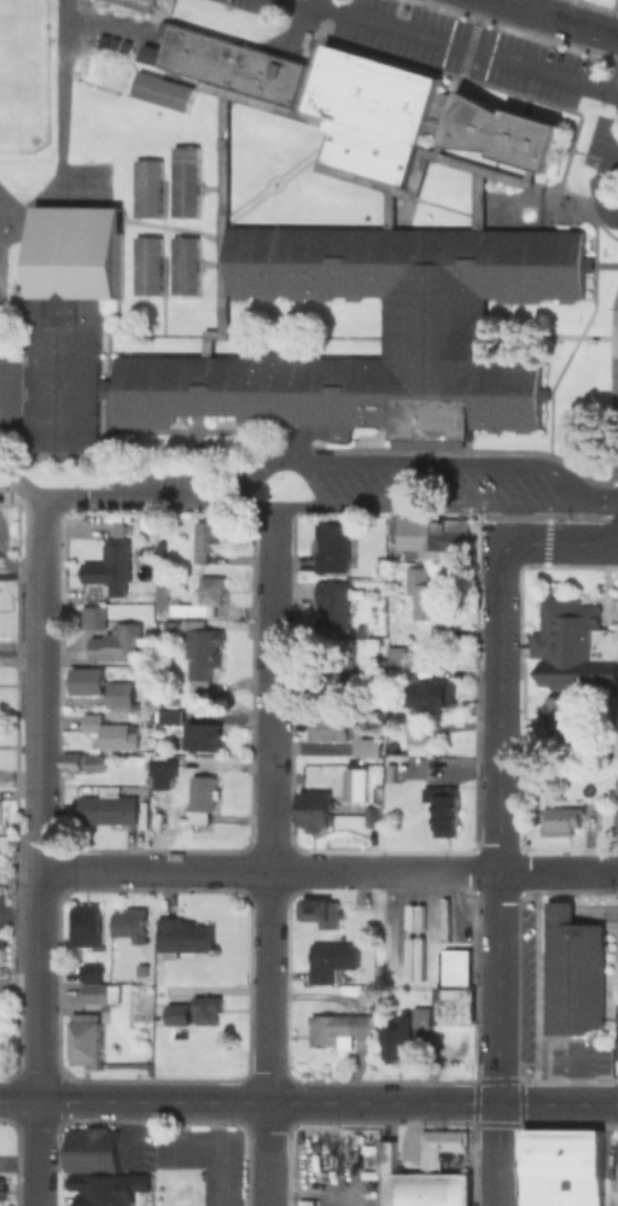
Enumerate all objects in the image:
road: (325, 2)
building: (135, 4)
road: (553, 19)
parking lot: (98, 24)
road: (462, 46)
parking lot: (459, 56)
building: (225, 62)
park: (22, 76)
road: (180, 80)
building: (162, 93)
road: (222, 105)
building: (373, 113)
road: (58, 133)
building: (503, 134)
building: (88, 141)
road: (443, 159)
road: (604, 167)
building: (182, 182)
road: (270, 182)
road: (537, 187)
building: (146, 190)
road: (443, 208)
road: (171, 228)
building: (147, 267)
building: (182, 267)
road: (196, 298)
building: (432, 327)
road: (577, 334)
road: (135, 336)
road: (530, 336)
road: (301, 337)
parking lot: (10, 378)
road: (183, 431)
road: (404, 464)
parking lot: (161, 476)
parking lot: (422, 485)
road: (19, 488)
road: (133, 497)
road: (402, 505)
road: (599, 505)
building: (439, 536)
building: (206, 541)
building: (158, 548)
building: (330, 548)
building: (107, 565)
road: (19, 573)
building: (426, 596)
building: (188, 600)
building: (331, 607)
building: (89, 619)
building: (358, 633)
building: (116, 645)
building: (573, 648)
building: (199, 652)
building: (86, 683)
building: (338, 683)
building: (117, 695)
building: (420, 695)
building: (558, 713)
building: (169, 718)
building: (416, 730)
building: (109, 733)
building: (340, 735)
building: (200, 739)
building: (576, 740)
building: (82, 764)
building: (390, 773)
building: (159, 775)
building: (354, 786)
building: (614, 790)
building: (200, 793)
building: (601, 805)
building: (109, 809)
building: (314, 809)
building: (442, 810)
building: (372, 817)
road: (497, 817)
building: (614, 818)
building: (559, 820)
road: (36, 850)
road: (268, 855)
road: (152, 869)
road: (383, 870)
road: (558, 873)
building: (320, 910)
road: (18, 915)
building: (83, 924)
building: (130, 924)
building: (182, 933)
building: (333, 960)
building: (455, 967)
building: (140, 969)
building: (91, 972)
building: (571, 973)
parking lot: (521, 986)
building: (98, 992)
building: (453, 1004)
building: (205, 1008)
building: (176, 1013)
building: (420, 1016)
building: (337, 1027)
building: (617, 1031)
building: (0, 1032)
building: (84, 1038)
building: (397, 1039)
parking lot: (576, 1061)
road: (578, 1074)
road: (309, 1101)
road: (129, 1134)
road: (188, 1147)
building: (439, 1148)
building: (89, 1150)
road: (217, 1153)
road: (616, 1155)
parking lot: (209, 1157)
building: (561, 1166)
parking lot: (337, 1167)
building: (420, 1183)
building: (0, 1189)
building: (107, 1190)
road: (336, 1198)

